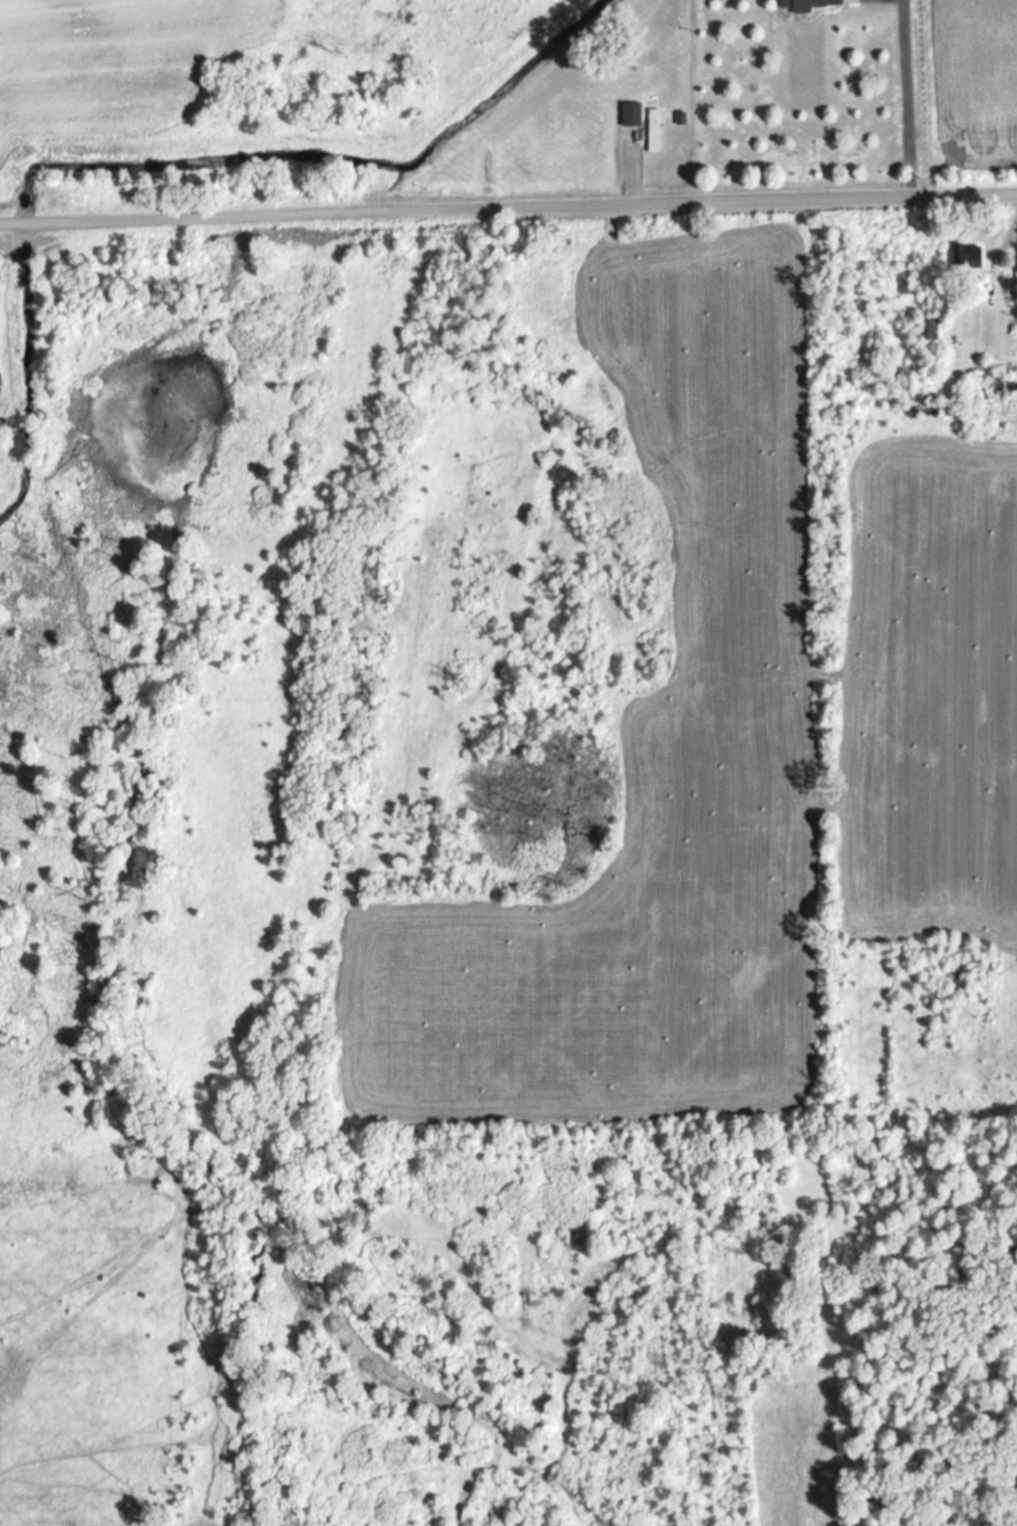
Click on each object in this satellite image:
building: (810, 5)
road: (913, 99)
building: (633, 116)
building: (655, 133)
road: (508, 208)
building: (965, 257)
building: (930, 326)
building: (994, 388)

